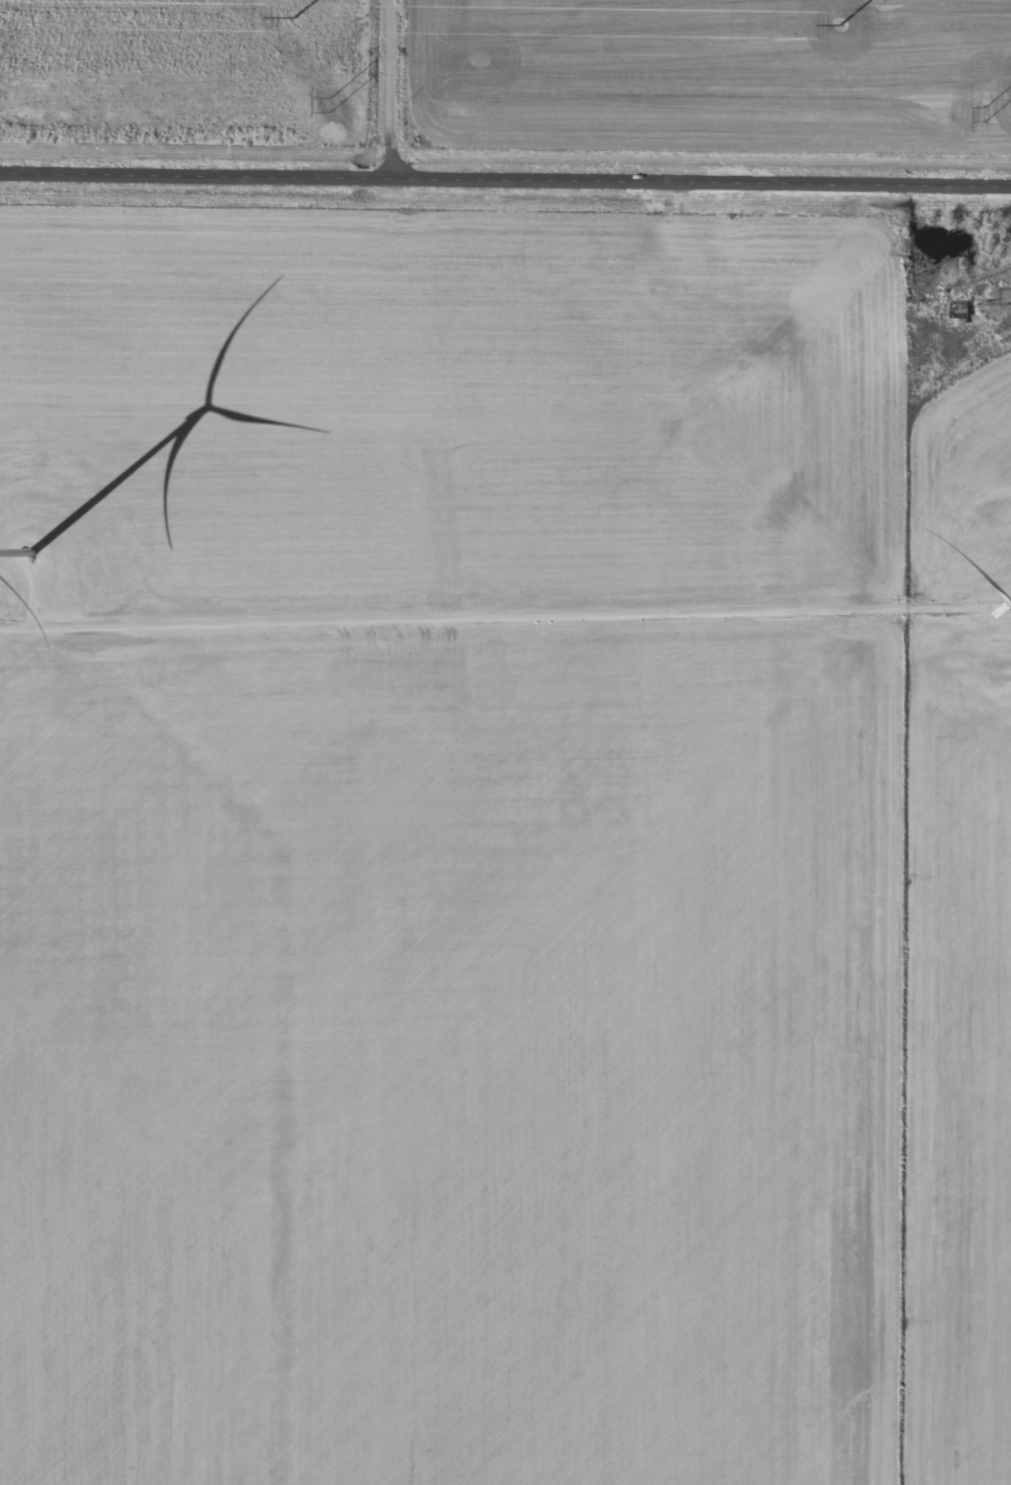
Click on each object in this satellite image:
power tower: (294, 17)
power tower: (839, 25)
road: (394, 89)
power tower: (331, 106)
power tower: (981, 116)
road: (505, 179)
wind turbine: (28, 542)

